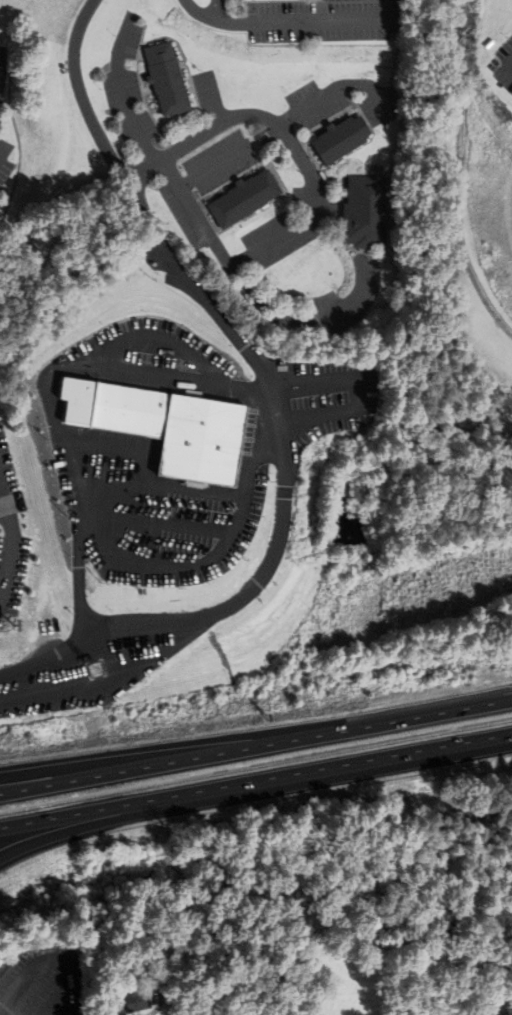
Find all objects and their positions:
road: (278, 19)
road: (510, 65)
building: (167, 78)
road: (85, 117)
building: (341, 136)
road: (211, 166)
building: (245, 195)
building: (366, 209)
road: (272, 240)
road: (56, 390)
building: (82, 416)
building: (175, 428)
road: (286, 478)
road: (1, 505)
road: (10, 545)
road: (46, 657)
power tower: (96, 668)
road: (255, 741)
road: (68, 770)
road: (256, 780)
road: (118, 820)
road: (49, 958)
building: (137, 1001)
road: (3, 1013)

